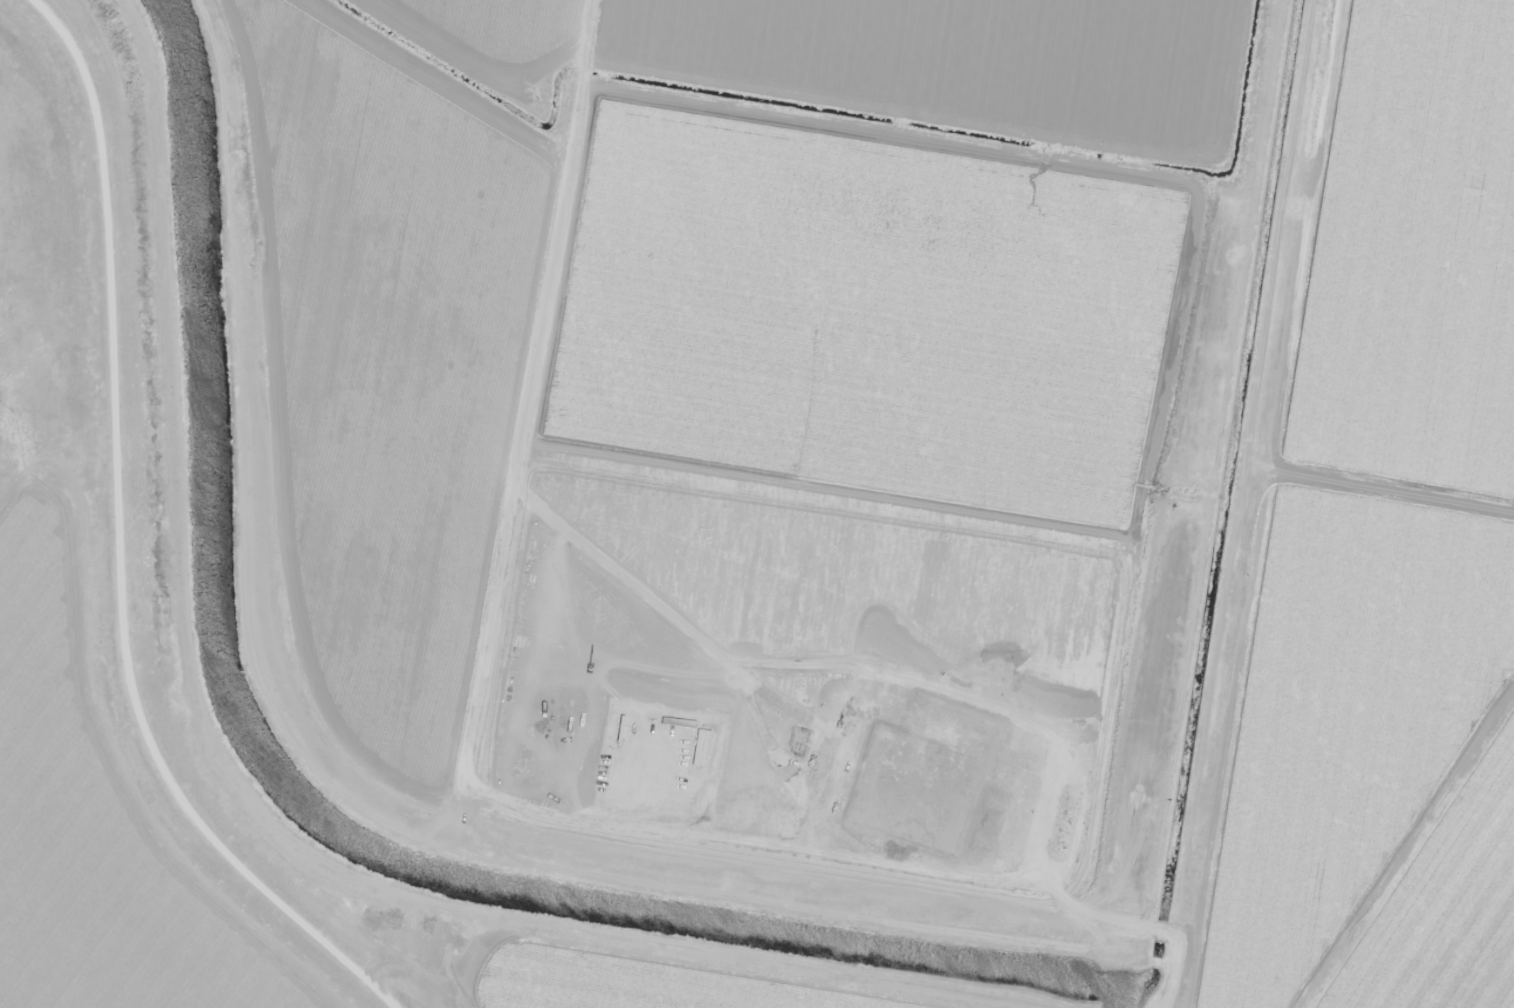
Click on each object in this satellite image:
road: (1418, 172)
road: (530, 394)
road: (1392, 482)
road: (1264, 504)
road: (140, 544)
road: (399, 765)

